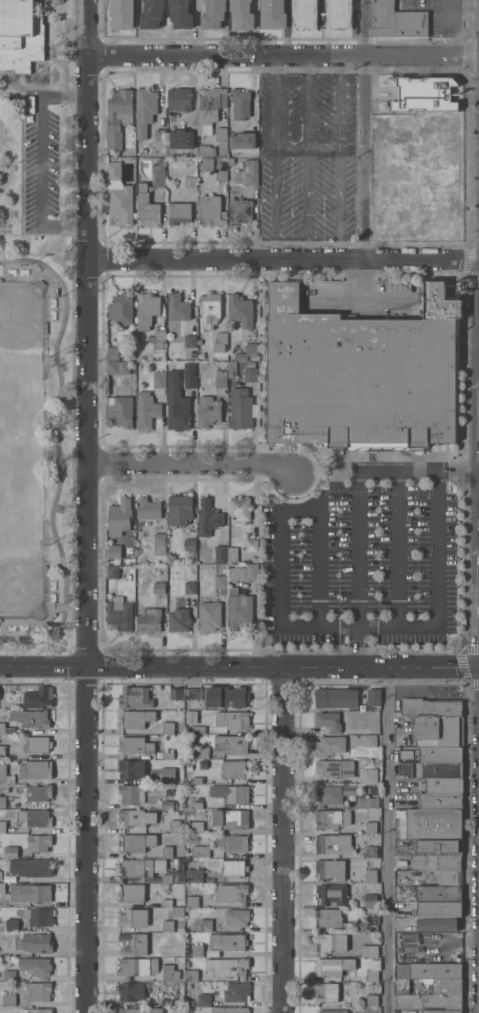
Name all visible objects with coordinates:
road: (460, 6)
building: (122, 13)
building: (322, 13)
building: (152, 14)
building: (180, 14)
building: (213, 14)
building: (242, 14)
building: (273, 14)
building: (396, 20)
road: (364, 29)
building: (20, 36)
road: (283, 57)
building: (425, 94)
building: (179, 99)
building: (240, 103)
building: (210, 108)
building: (145, 110)
building: (118, 117)
road: (339, 117)
building: (438, 126)
building: (221, 134)
building: (160, 137)
building: (181, 139)
building: (242, 140)
road: (292, 148)
building: (207, 150)
road: (363, 159)
road: (39, 160)
building: (206, 164)
building: (251, 171)
building: (221, 172)
building: (231, 174)
building: (190, 182)
building: (119, 195)
building: (143, 198)
building: (395, 208)
building: (239, 210)
building: (211, 211)
building: (179, 213)
road: (282, 259)
road: (369, 297)
building: (177, 308)
building: (210, 309)
building: (147, 310)
building: (240, 310)
building: (118, 315)
road: (85, 332)
building: (157, 339)
building: (190, 341)
building: (219, 342)
building: (248, 351)
building: (113, 353)
building: (163, 355)
building: (250, 364)
building: (118, 367)
building: (139, 368)
building: (232, 369)
building: (251, 374)
building: (189, 375)
building: (362, 375)
building: (220, 378)
building: (159, 380)
building: (176, 404)
building: (240, 408)
building: (120, 410)
building: (146, 410)
building: (209, 411)
road: (190, 466)
road: (459, 467)
road: (387, 471)
building: (240, 507)
building: (148, 509)
building: (179, 510)
building: (119, 517)
building: (208, 518)
building: (159, 544)
building: (189, 544)
building: (251, 545)
road: (399, 550)
building: (114, 551)
road: (357, 551)
building: (220, 554)
parking lot: (366, 558)
road: (317, 566)
building: (112, 571)
building: (243, 572)
building: (220, 581)
building: (159, 588)
building: (190, 588)
building: (239, 612)
building: (120, 614)
building: (209, 616)
building: (149, 620)
building: (179, 620)
road: (344, 630)
road: (355, 648)
road: (42, 665)
road: (281, 666)
building: (176, 693)
building: (194, 693)
building: (38, 697)
building: (135, 697)
building: (226, 697)
building: (336, 697)
building: (374, 697)
building: (431, 707)
building: (136, 718)
building: (30, 719)
building: (232, 720)
building: (328, 721)
building: (168, 728)
building: (6, 729)
building: (198, 730)
building: (439, 731)
building: (363, 740)
building: (37, 744)
building: (232, 744)
building: (136, 745)
building: (330, 746)
building: (2, 751)
building: (201, 752)
building: (406, 754)
building: (440, 754)
building: (168, 755)
building: (180, 763)
building: (189, 767)
building: (335, 768)
building: (38, 769)
building: (131, 769)
building: (235, 769)
building: (431, 769)
building: (5, 775)
building: (168, 775)
building: (369, 776)
building: (196, 780)
building: (441, 785)
building: (39, 793)
building: (130, 793)
building: (230, 793)
building: (327, 795)
building: (440, 800)
building: (3, 802)
building: (363, 802)
building: (168, 804)
building: (196, 805)
building: (35, 818)
building: (132, 818)
building: (229, 818)
building: (331, 819)
building: (434, 823)
building: (2, 826)
building: (175, 826)
building: (195, 827)
building: (370, 827)
road: (85, 839)
road: (279, 839)
road: (386, 839)
building: (39, 842)
building: (136, 842)
building: (234, 843)
building: (334, 844)
building: (438, 847)
building: (10, 851)
building: (167, 851)
building: (200, 851)
building: (370, 852)
building: (372, 862)
building: (436, 862)
building: (0, 863)
building: (32, 867)
building: (141, 867)
building: (234, 868)
building: (177, 869)
building: (330, 869)
building: (194, 875)
building: (370, 875)
building: (449, 877)
building: (167, 878)
building: (132, 892)
building: (38, 893)
building: (232, 893)
building: (439, 893)
building: (332, 894)
building: (7, 900)
building: (370, 900)
building: (193, 901)
building: (167, 903)
building: (440, 908)
building: (178, 911)
building: (38, 916)
building: (133, 917)
building: (237, 917)
building: (330, 918)
building: (371, 924)
building: (438, 924)
building: (12, 925)
building: (167, 925)
building: (206, 925)
building: (229, 941)
building: (332, 942)
building: (35, 943)
building: (134, 944)
building: (369, 950)
building: (196, 951)
building: (35, 965)
building: (332, 966)
building: (135, 967)
building: (228, 967)
building: (373, 970)
building: (428, 970)
building: (169, 973)
building: (9, 975)
building: (191, 975)
building: (402, 985)
building: (447, 986)
building: (131, 991)
building: (38, 992)
building: (237, 992)
building: (326, 992)
building: (8, 1000)
building: (204, 1000)
building: (372, 1000)
building: (442, 1000)
building: (169, 1002)
building: (36, 1010)
building: (141, 1010)
building: (229, 1010)
building: (333, 1011)
building: (442, 1011)

